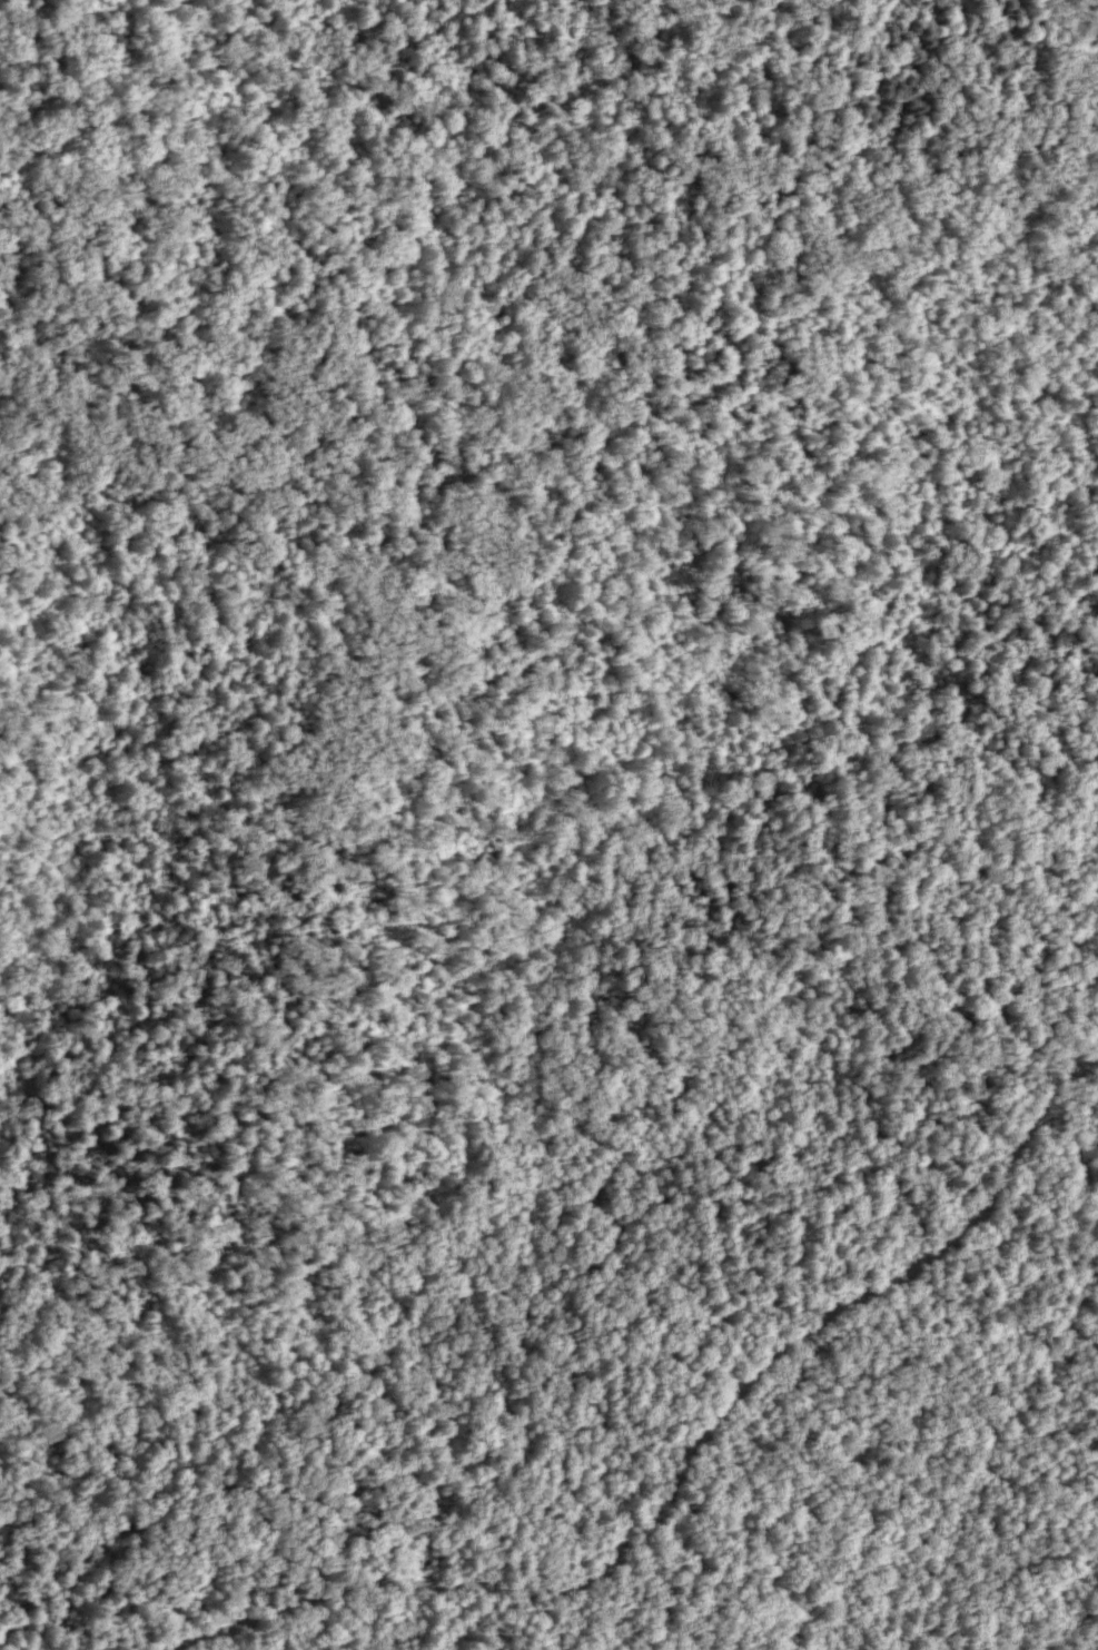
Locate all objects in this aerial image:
road: (692, 1456)

